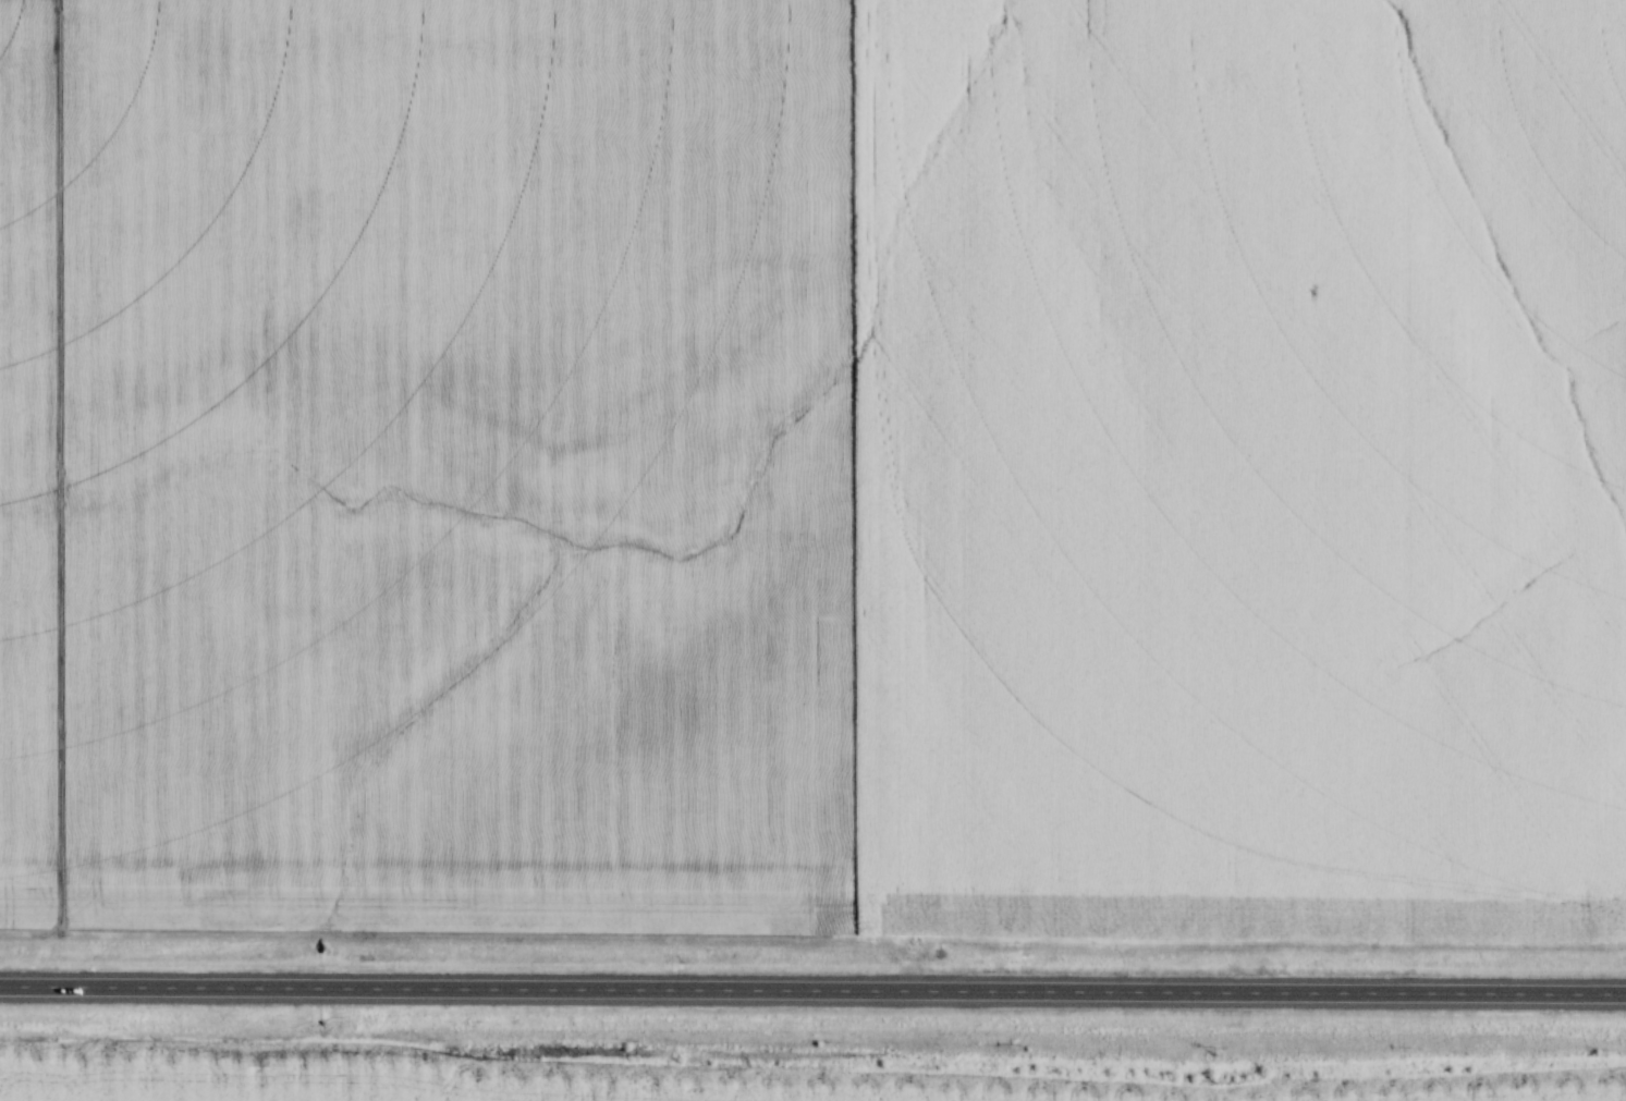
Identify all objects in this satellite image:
crop: (841, 458)
crop: (28, 467)
road: (812, 994)
crop: (602, 1087)

